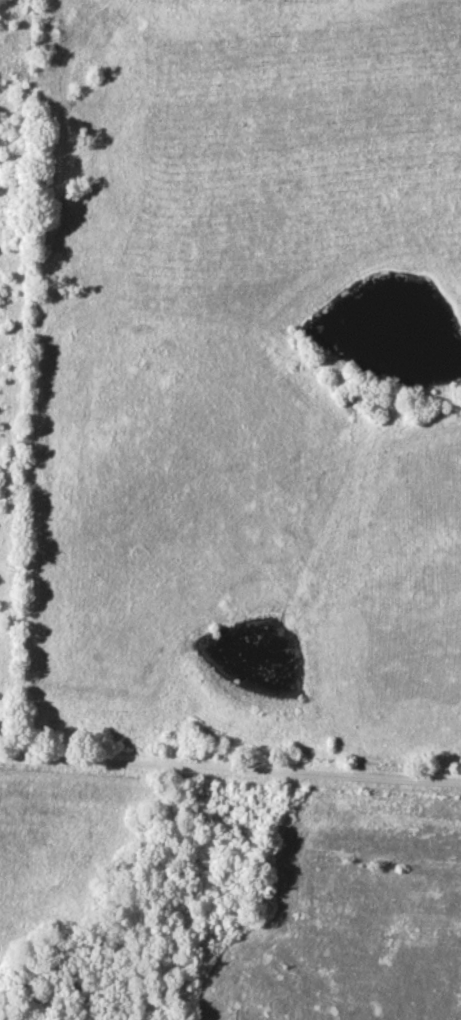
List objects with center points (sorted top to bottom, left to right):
road: (230, 771)

